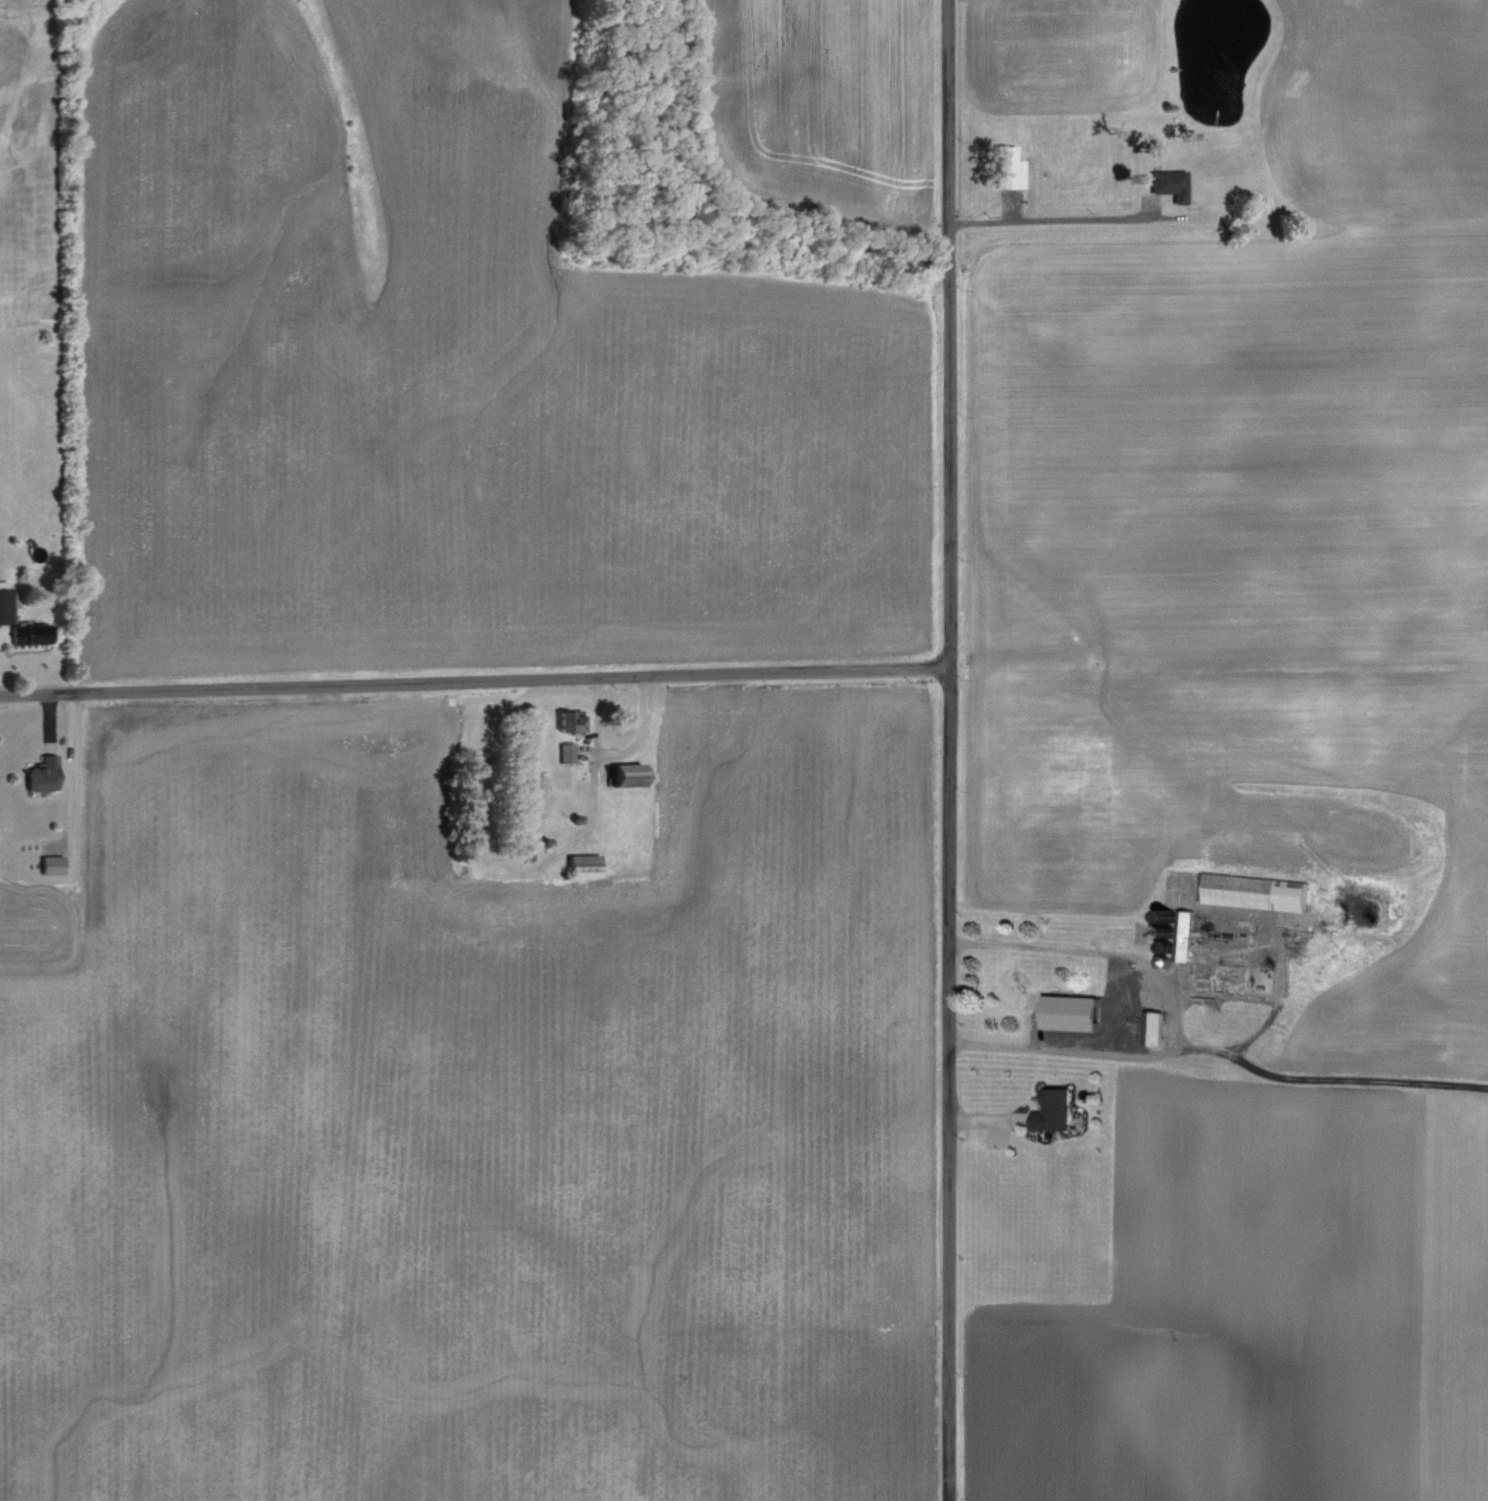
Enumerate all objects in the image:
building: (1172, 183)
road: (1056, 214)
building: (19, 622)
road: (470, 675)
building: (569, 718)
building: (567, 750)
road: (943, 750)
road: (66, 764)
building: (45, 771)
building: (634, 772)
building: (53, 862)
building: (1256, 889)
building: (1264, 977)
building: (1075, 1010)
road: (1173, 1010)
building: (1155, 1025)
building: (1053, 1108)

